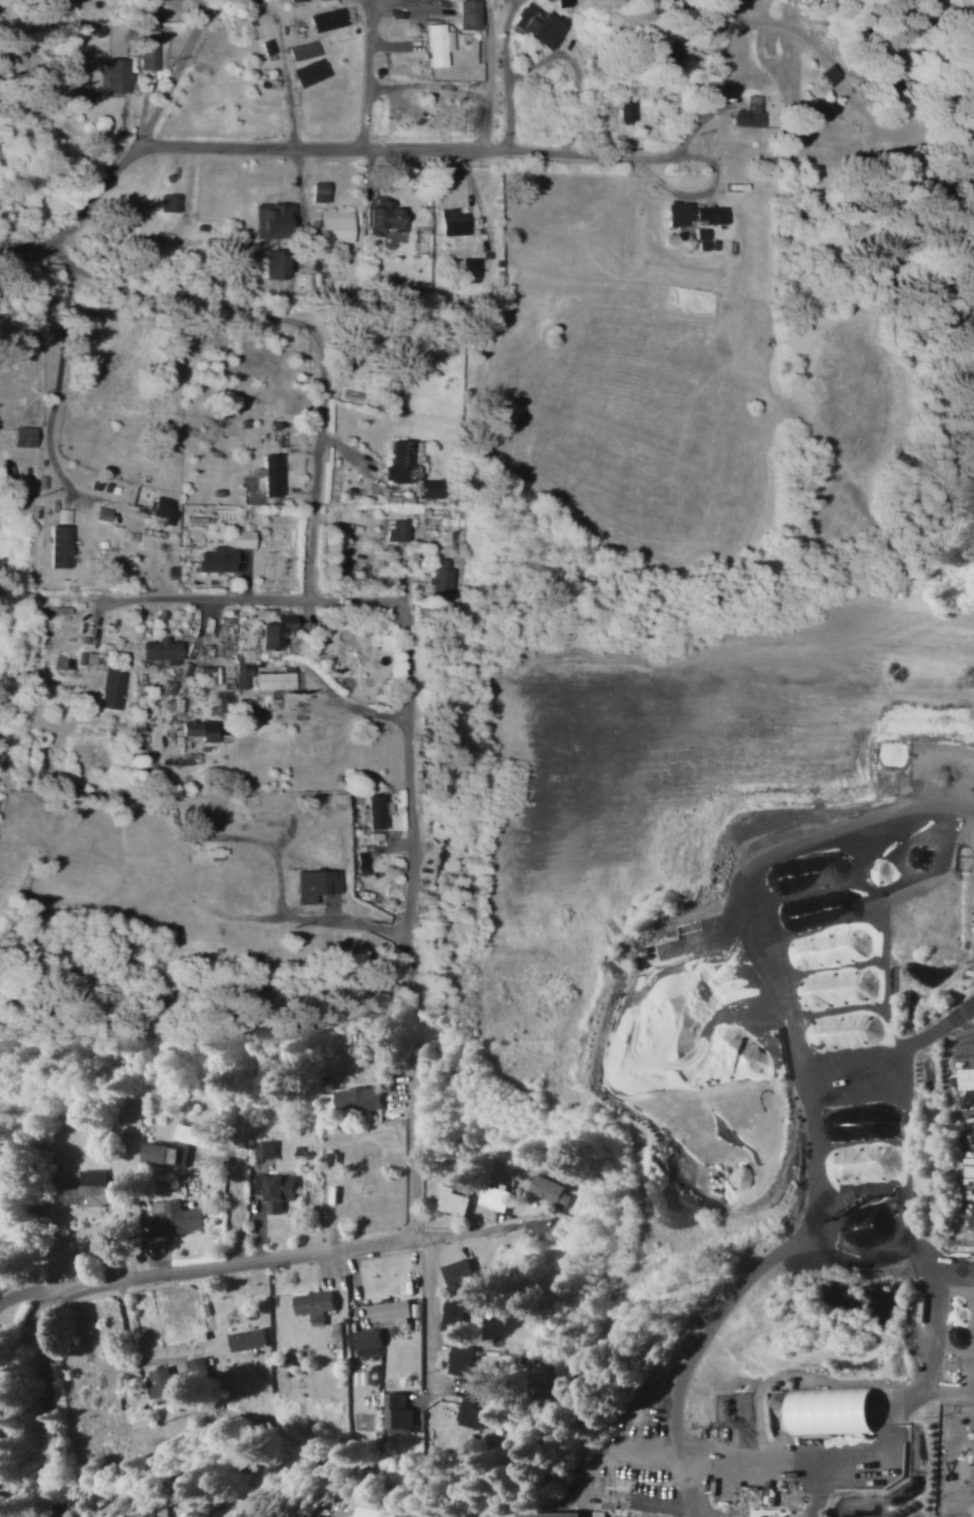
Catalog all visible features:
building: (466, 14)
building: (325, 19)
road: (204, 21)
building: (537, 24)
building: (436, 43)
building: (265, 46)
building: (302, 49)
building: (148, 57)
building: (307, 71)
building: (117, 73)
building: (828, 73)
building: (626, 110)
building: (747, 112)
road: (177, 146)
road: (555, 154)
building: (318, 190)
building: (168, 201)
building: (692, 212)
building: (380, 214)
building: (271, 219)
building: (451, 221)
building: (334, 224)
building: (699, 238)
building: (273, 262)
building: (470, 268)
road: (312, 328)
road: (60, 353)
building: (20, 435)
building: (407, 469)
building: (398, 498)
building: (264, 500)
building: (162, 509)
building: (100, 512)
building: (61, 514)
building: (394, 528)
building: (57, 545)
building: (222, 552)
building: (440, 575)
road: (181, 599)
building: (271, 630)
building: (158, 648)
building: (85, 657)
building: (241, 674)
building: (275, 679)
building: (110, 688)
building: (196, 729)
building: (38, 758)
building: (337, 799)
building: (377, 810)
building: (203, 855)
building: (361, 862)
road: (412, 876)
building: (314, 883)
building: (357, 1098)
building: (830, 1130)
building: (195, 1134)
building: (969, 1134)
building: (860, 1162)
building: (85, 1188)
building: (549, 1188)
building: (274, 1189)
building: (494, 1196)
building: (453, 1200)
building: (177, 1218)
road: (305, 1254)
road: (39, 1256)
building: (457, 1270)
building: (314, 1304)
building: (389, 1309)
building: (454, 1315)
road: (418, 1335)
building: (247, 1338)
building: (367, 1341)
building: (461, 1359)
building: (178, 1376)
road: (46, 1400)
building: (470, 1410)
building: (828, 1410)
building: (397, 1411)
building: (252, 1511)
building: (148, 1513)
building: (772, 1513)
building: (525, 1514)

